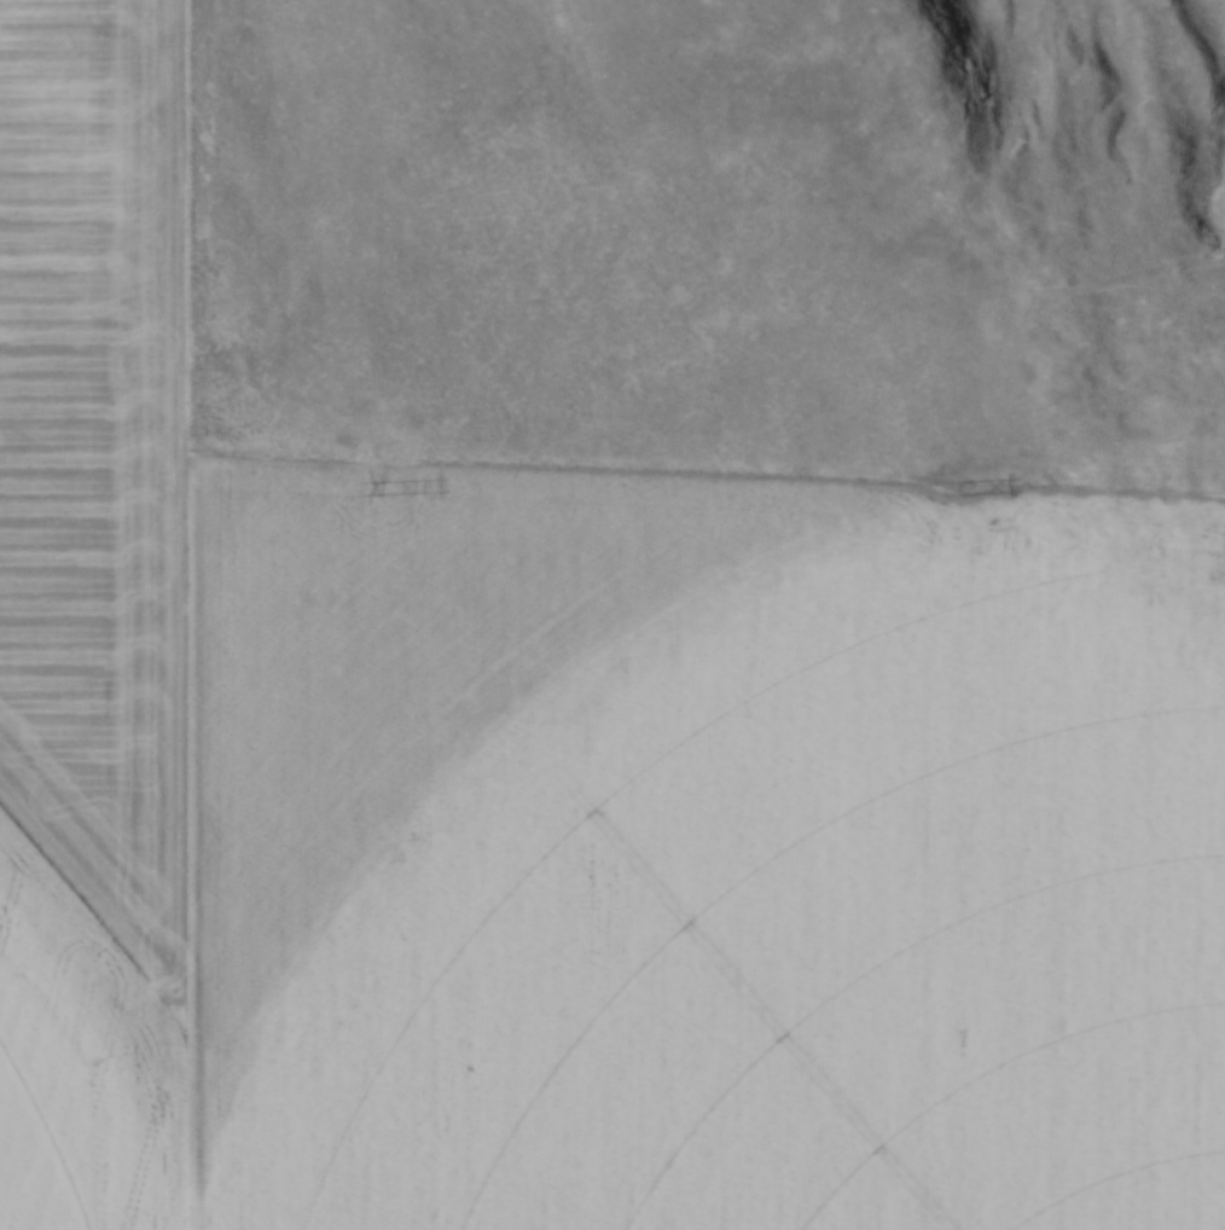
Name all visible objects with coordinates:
power tower: (387, 488)
power tower: (965, 491)

